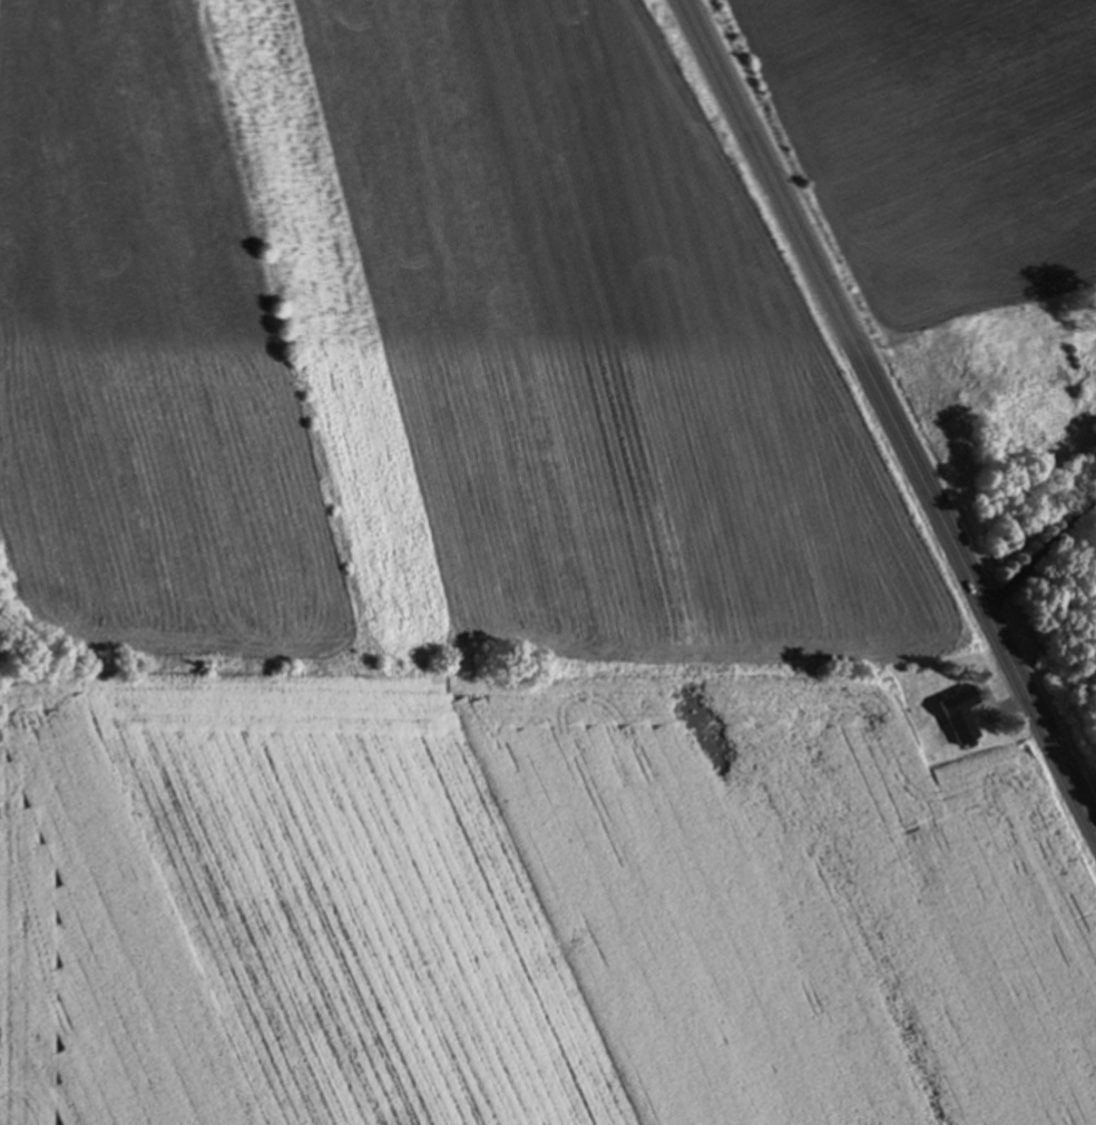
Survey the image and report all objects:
road: (890, 425)
road: (1038, 566)
building: (961, 718)

